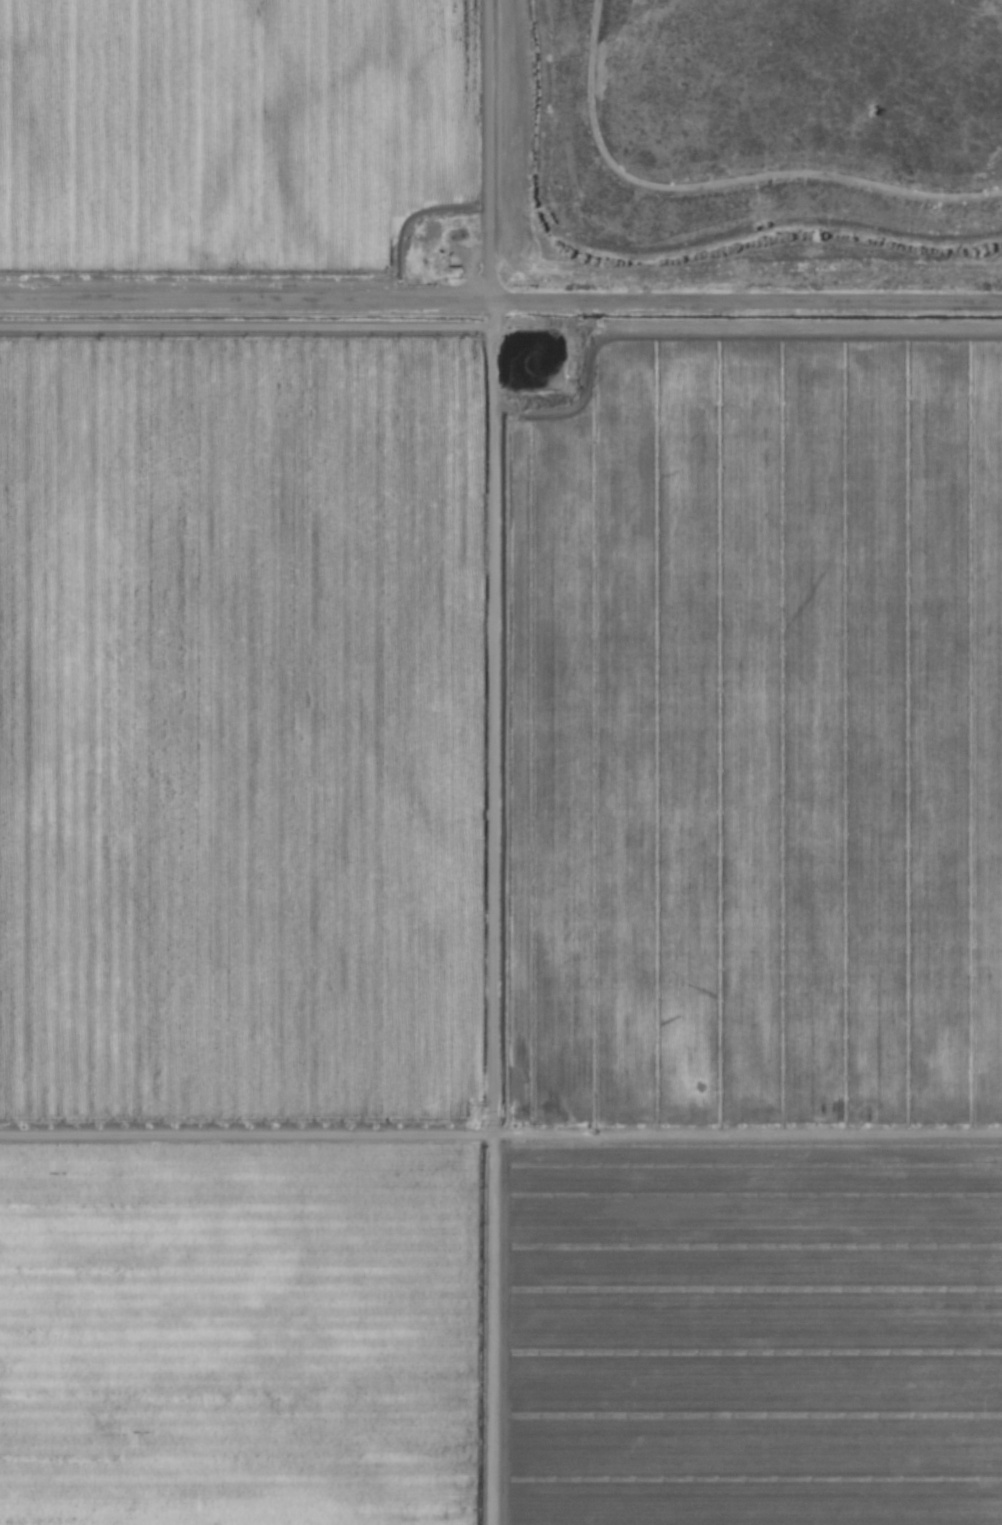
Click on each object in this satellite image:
road: (501, 300)
road: (501, 1129)

